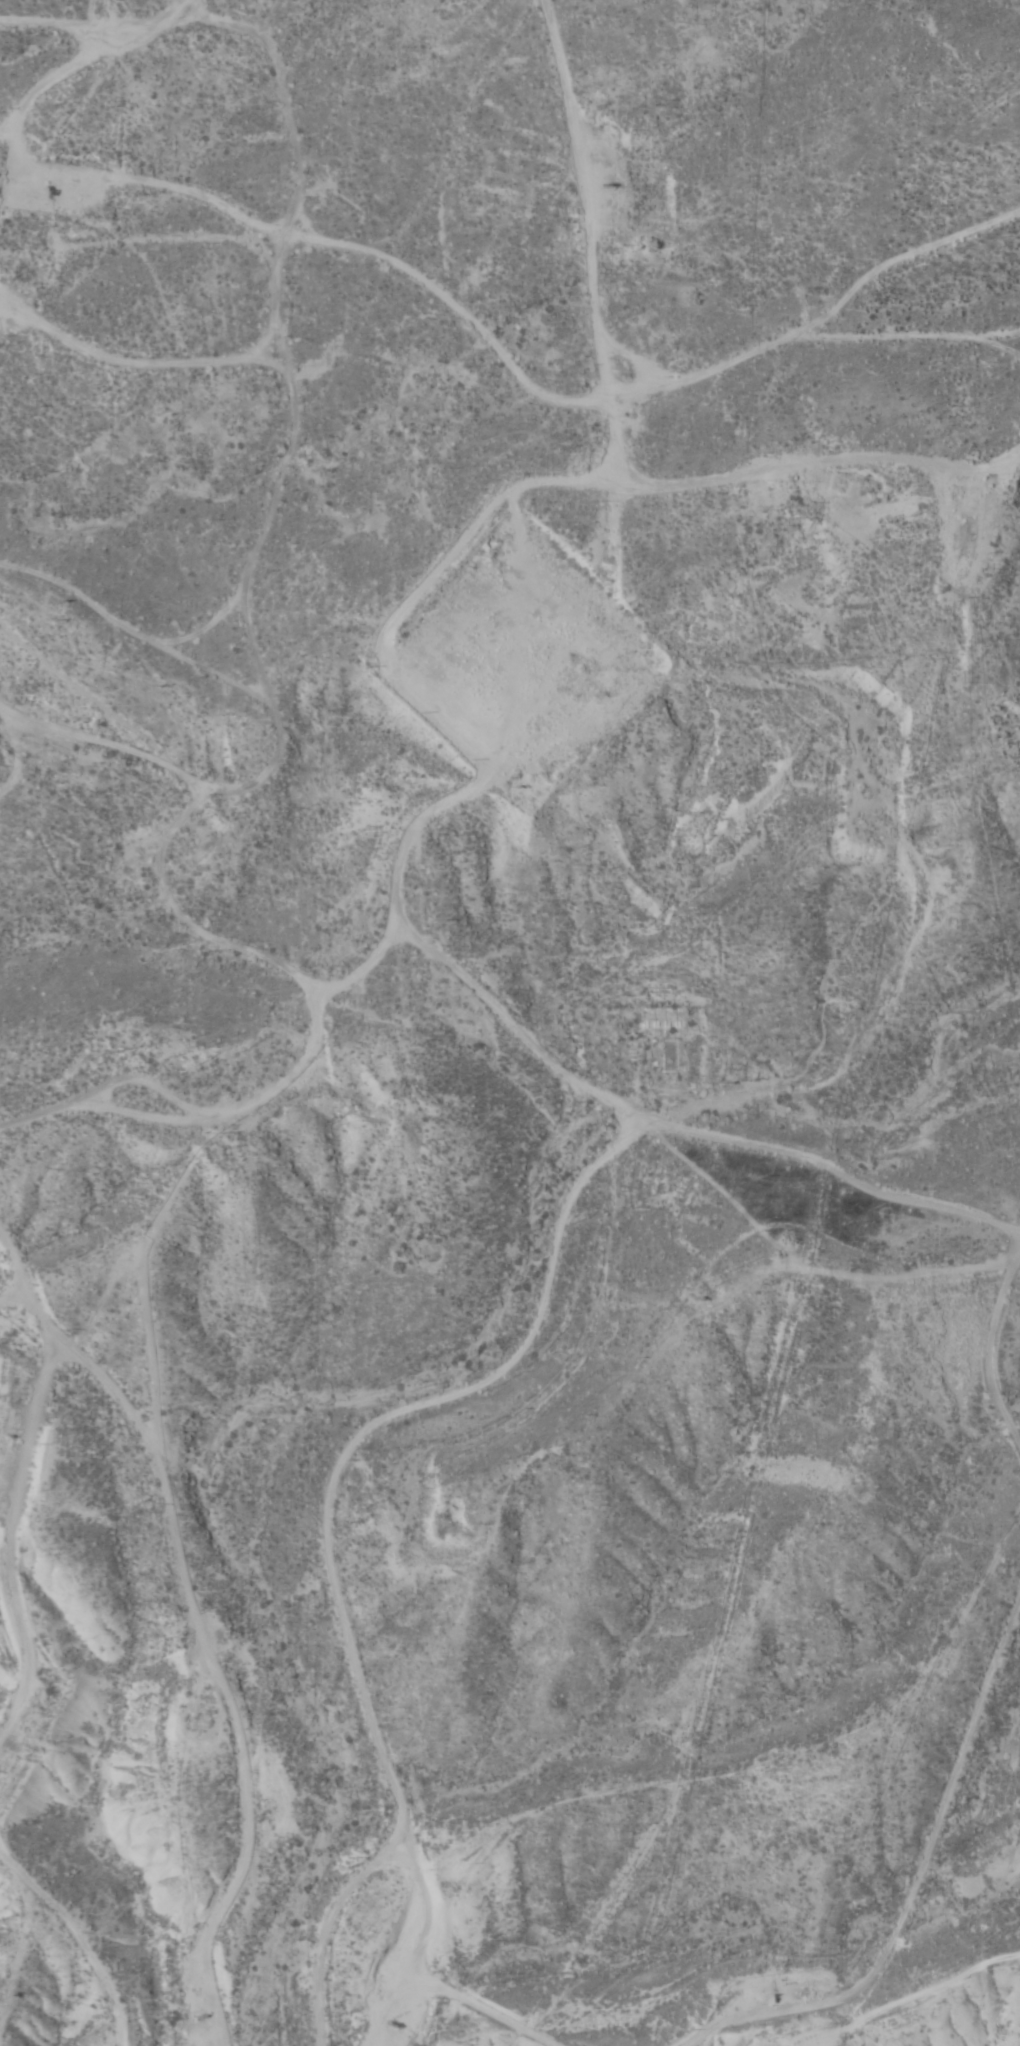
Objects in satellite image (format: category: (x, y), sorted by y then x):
building: (961, 530)
road: (470, 759)
road: (43, 1353)
road: (323, 1563)
road: (156, 1723)

